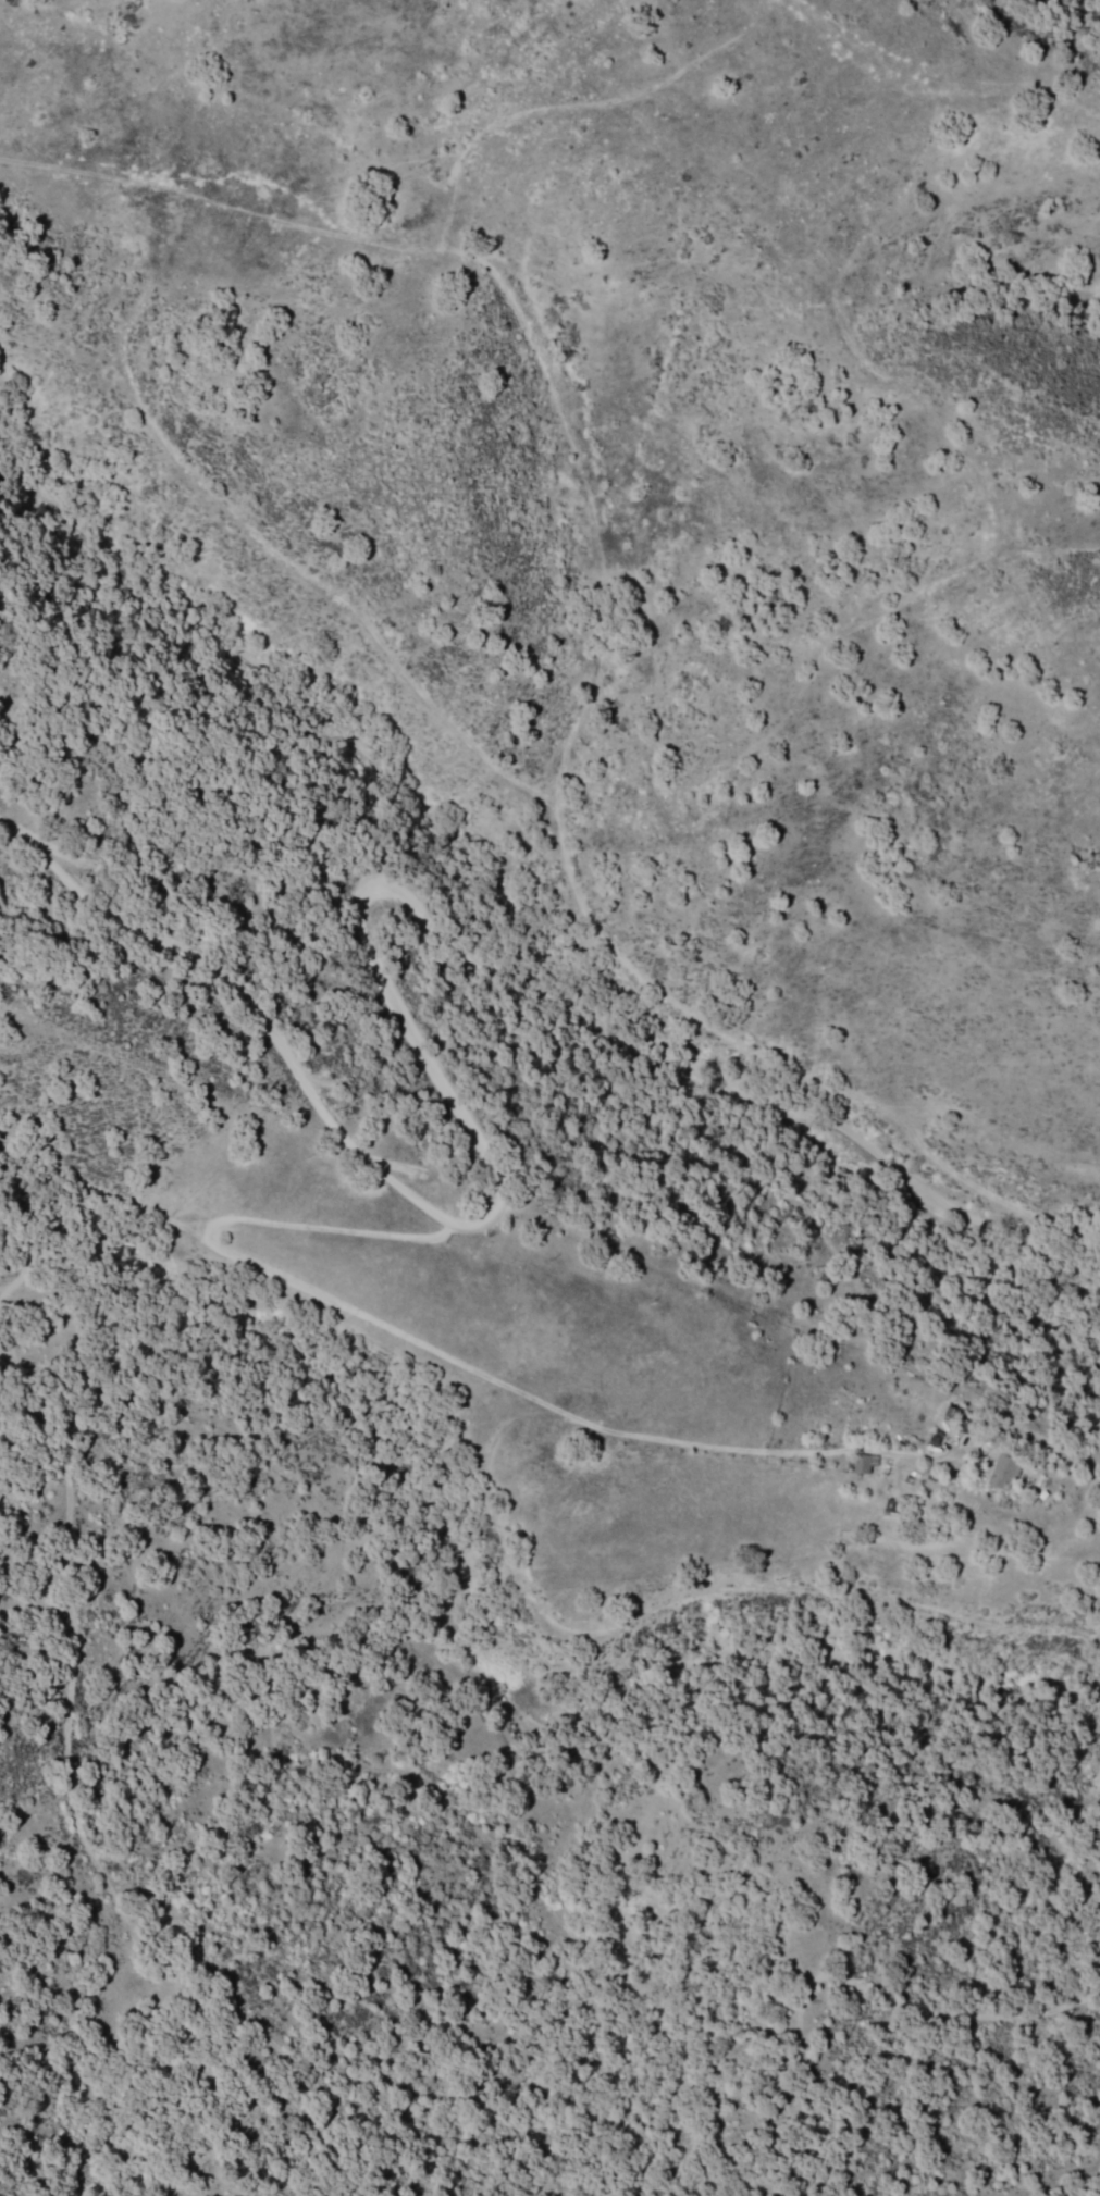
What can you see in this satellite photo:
road: (843, 264)
road: (503, 300)
road: (449, 736)
road: (238, 1007)
road: (540, 1015)
road: (90, 1191)
road: (309, 1223)
road: (1073, 1267)
road: (539, 1401)
building: (860, 1464)
building: (999, 1474)
road: (678, 1592)
road: (61, 1776)
road: (844, 1983)

